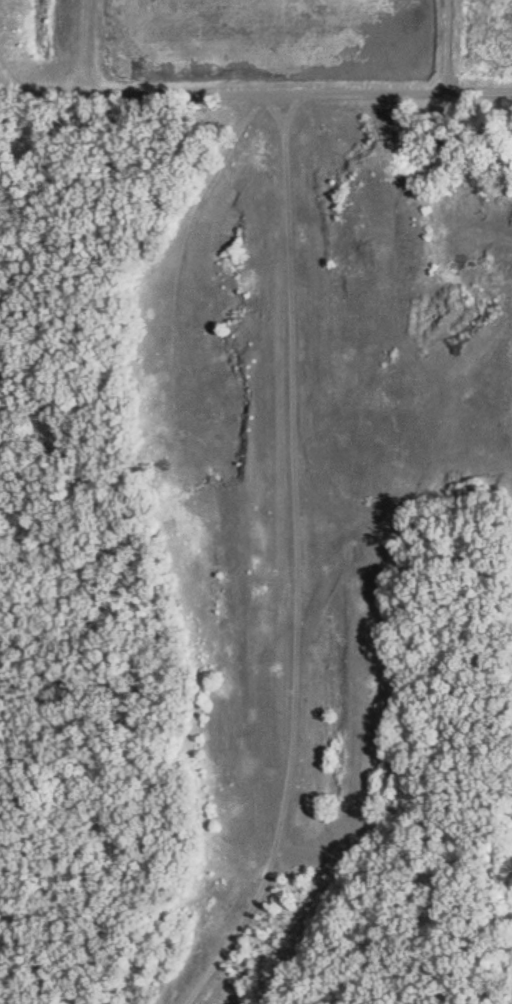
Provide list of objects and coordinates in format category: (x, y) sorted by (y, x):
wastewater plant: (483, 551)

